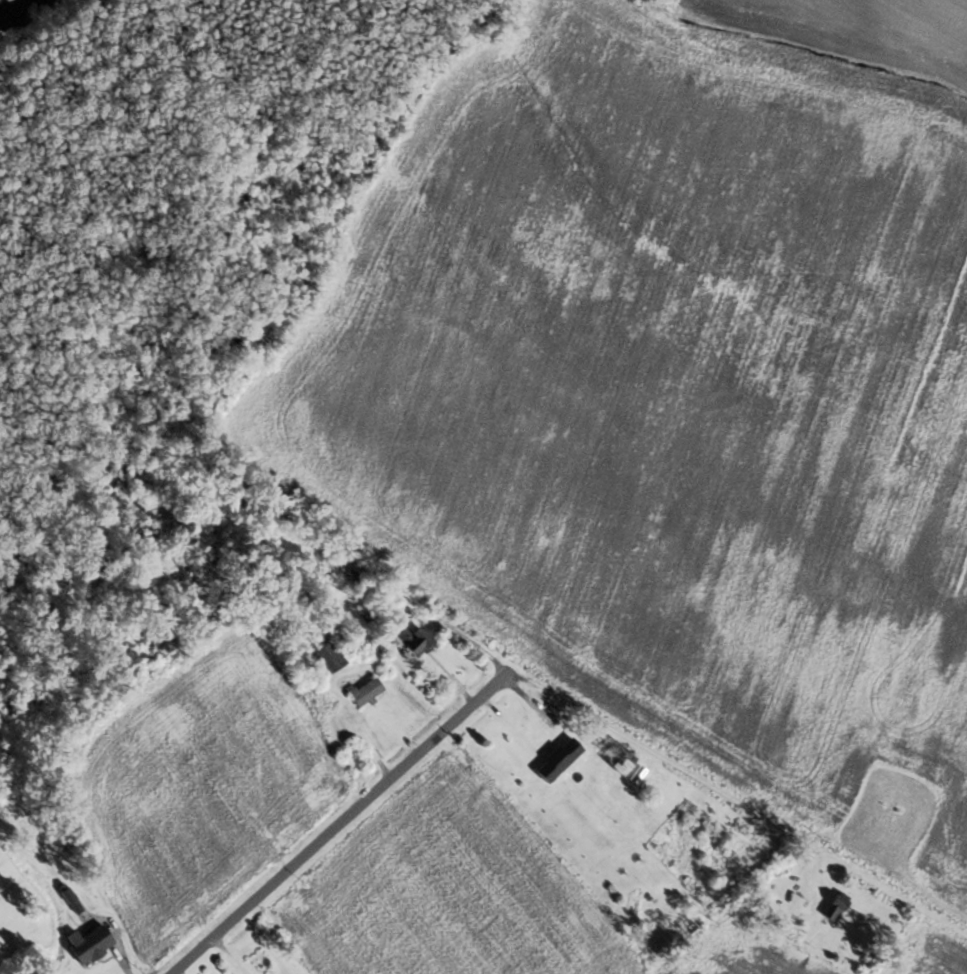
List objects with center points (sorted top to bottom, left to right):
building: (416, 640)
building: (330, 658)
building: (367, 691)
road: (539, 730)
building: (620, 758)
building: (560, 760)
road: (681, 767)
road: (340, 821)
building: (72, 900)
building: (837, 907)
building: (694, 922)
building: (92, 943)
building: (262, 961)

